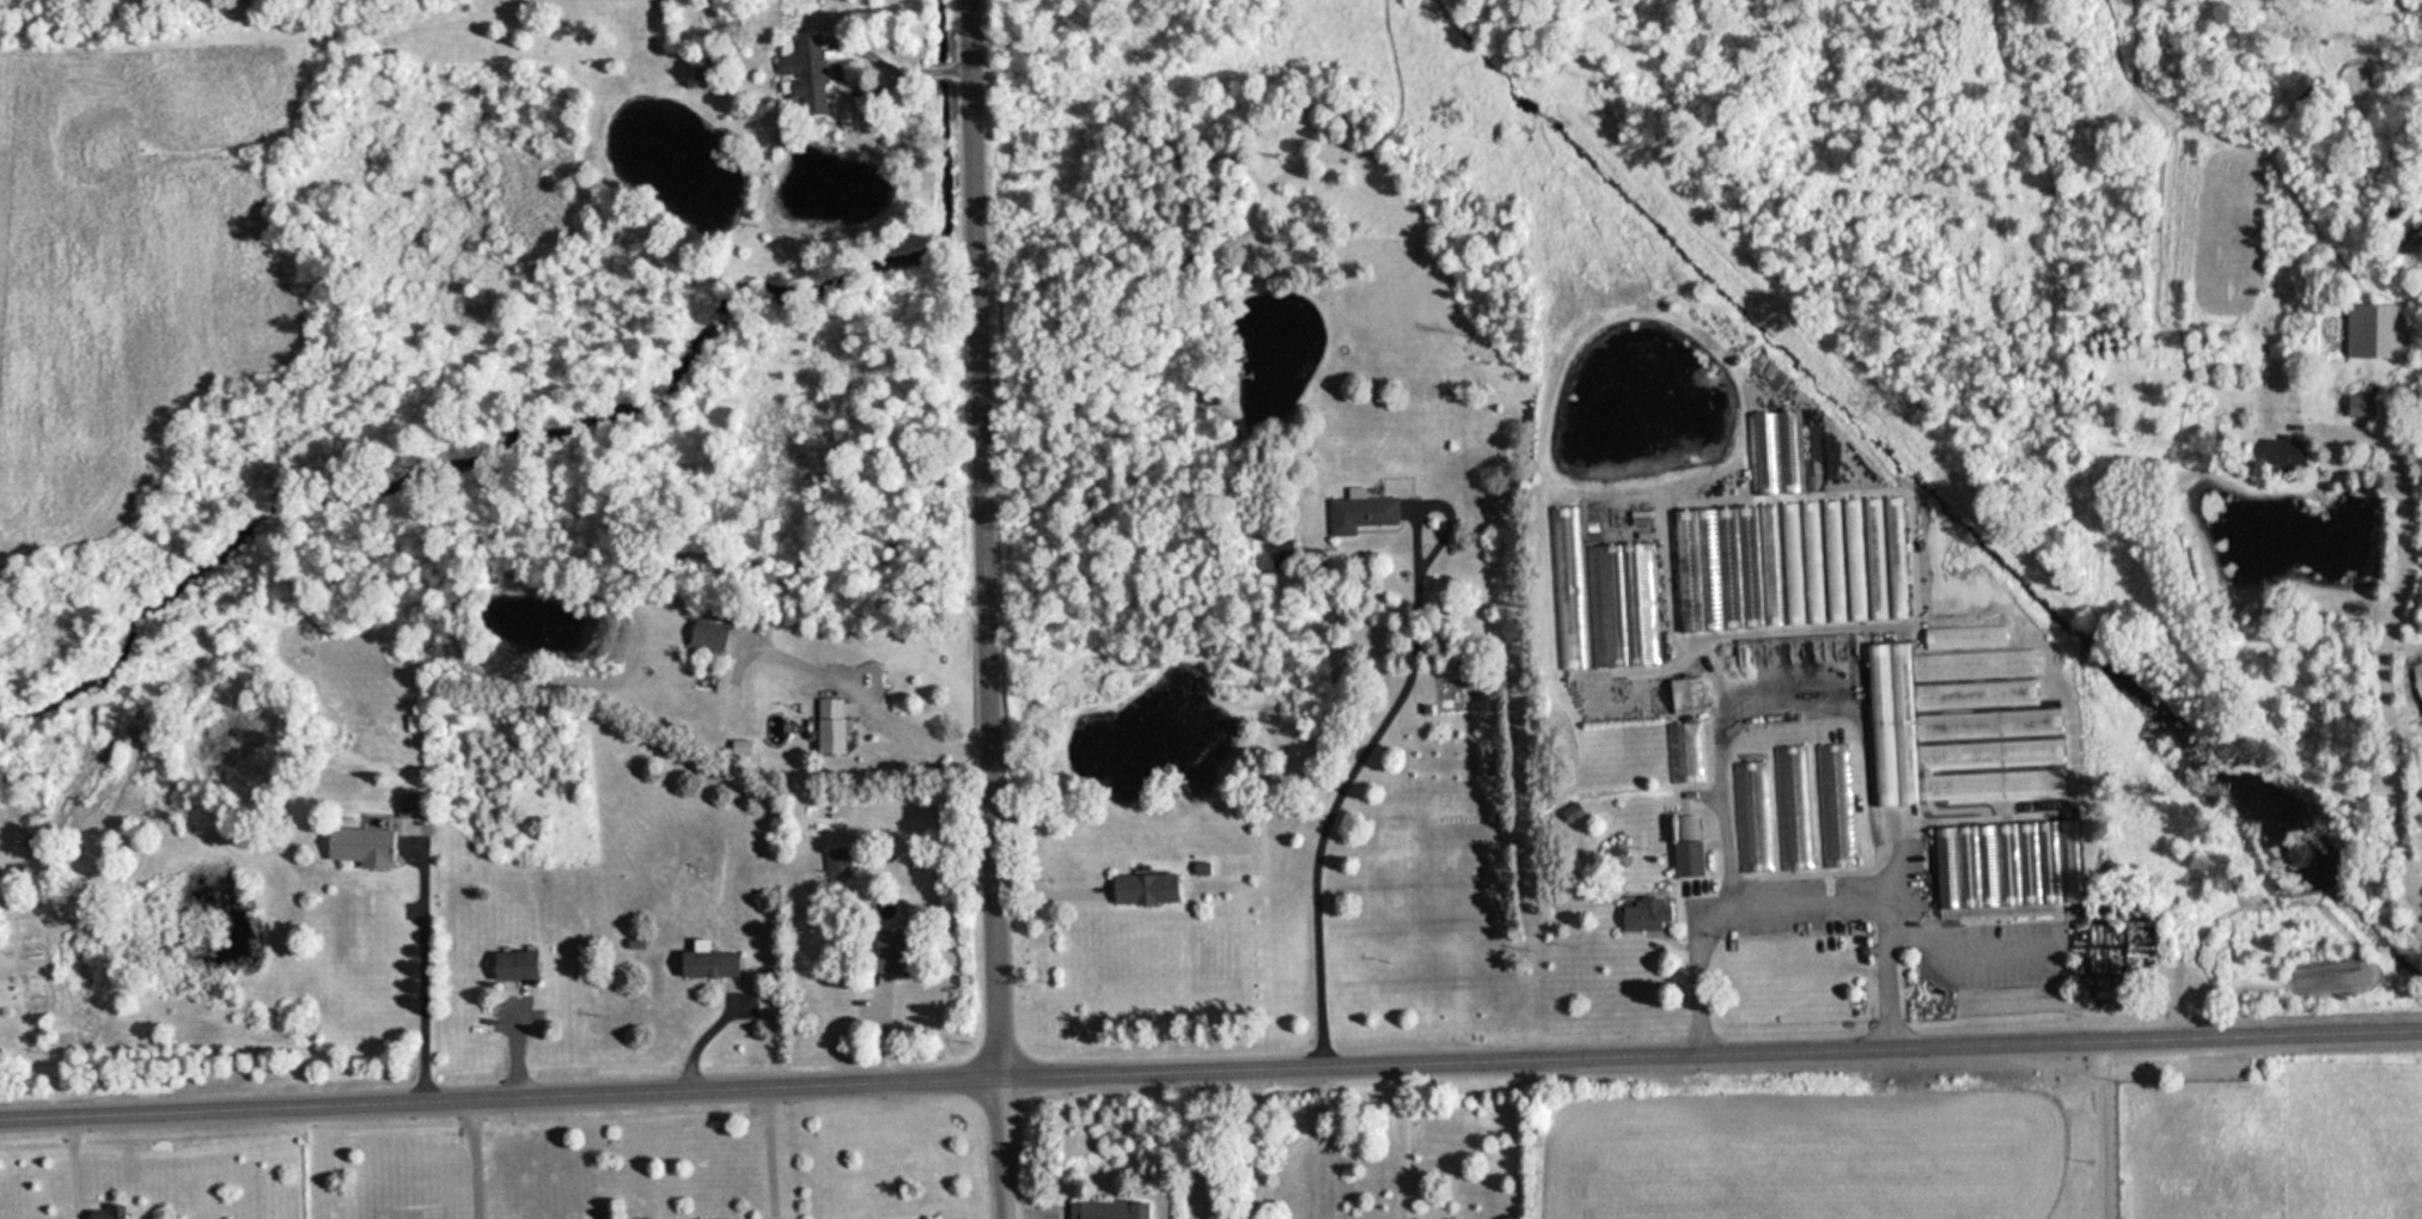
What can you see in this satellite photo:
building: (805, 73)
building: (2374, 330)
building: (2359, 406)
building: (2286, 453)
building: (1359, 511)
road: (984, 538)
building: (1787, 561)
building: (1623, 590)
building: (1566, 593)
building: (703, 635)
building: (407, 656)
building: (826, 725)
building: (1958, 725)
building: (1683, 752)
building: (1832, 804)
building: (1790, 806)
building: (405, 811)
building: (1750, 815)
building: (355, 846)
building: (1684, 846)
building: (842, 863)
building: (1996, 873)
building: (1140, 888)
building: (1642, 915)
building: (887, 951)
building: (704, 962)
building: (510, 964)
road: (1710, 1048)
road: (500, 1093)
road: (2104, 1126)
road: (1001, 1148)
building: (1105, 1208)
building: (105, 1212)

